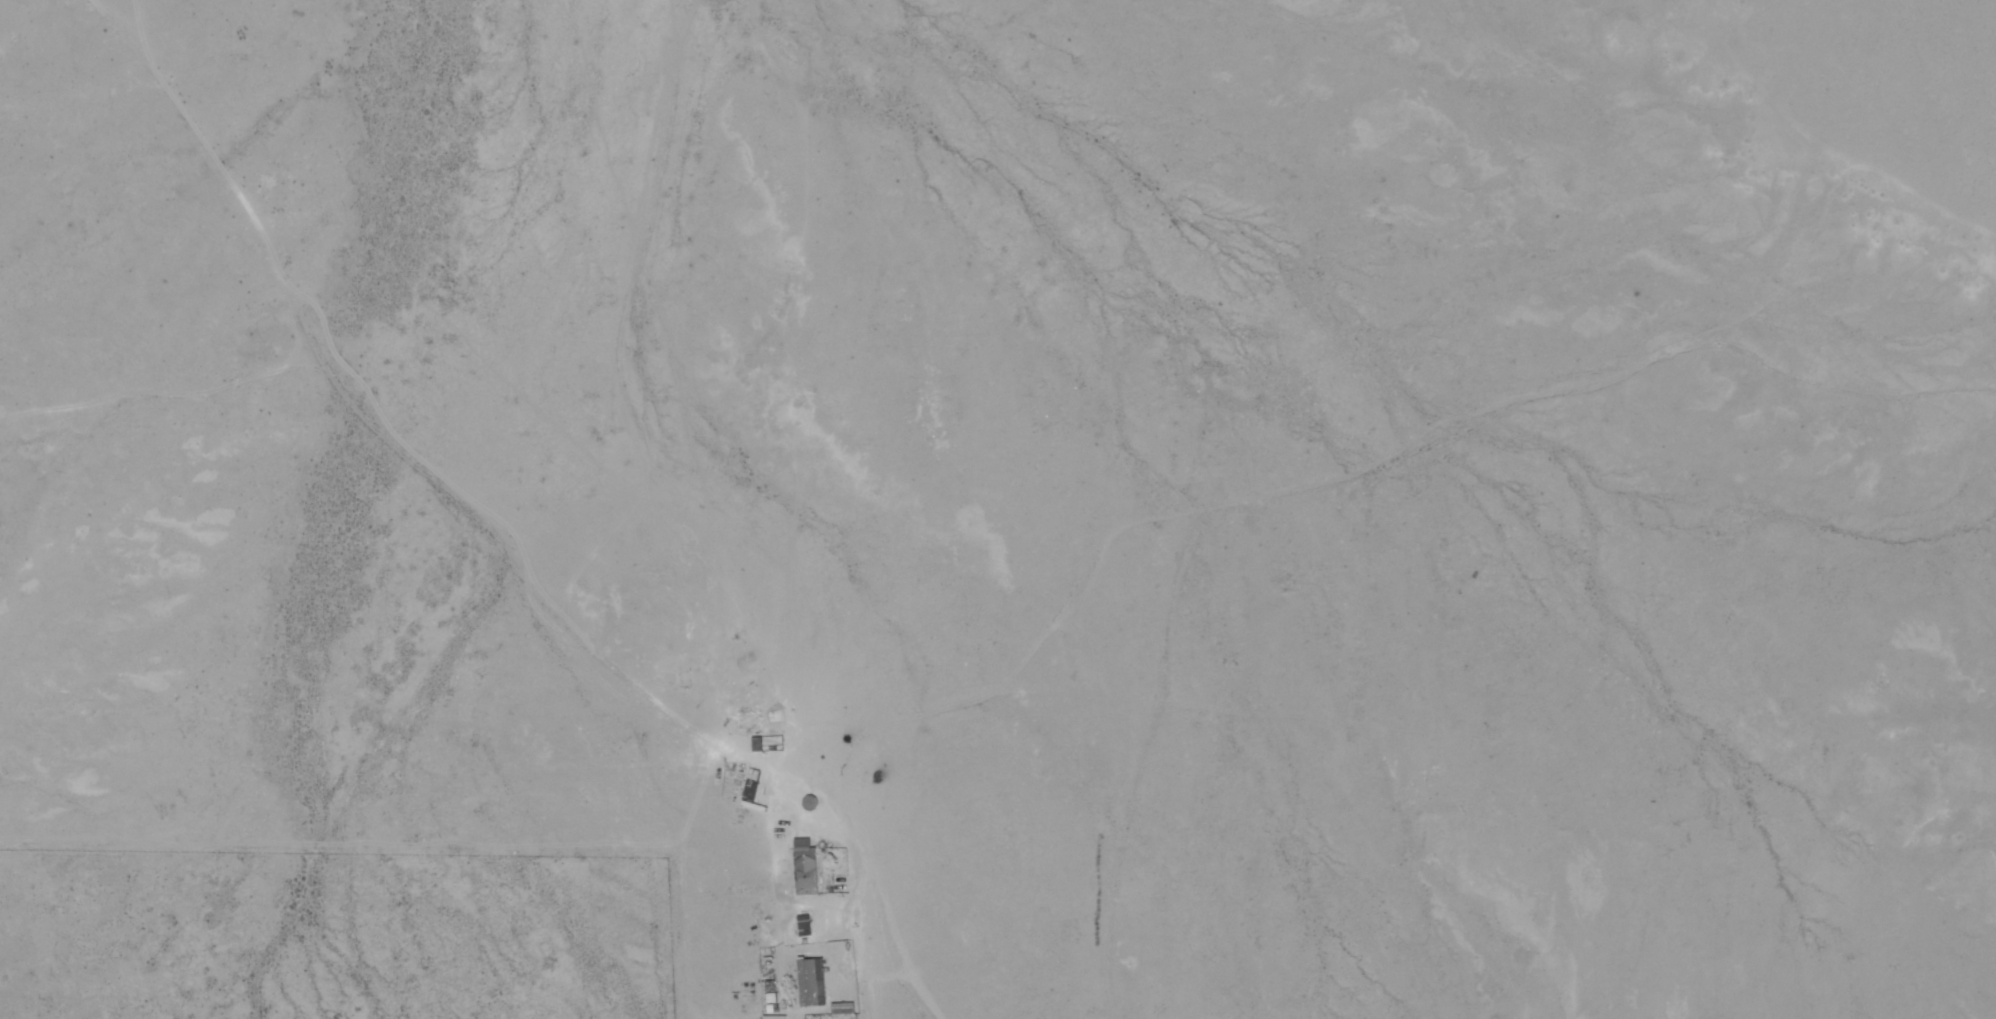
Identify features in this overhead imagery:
road: (495, 557)
building: (745, 790)
building: (806, 803)
building: (805, 869)
building: (804, 928)
building: (808, 982)

